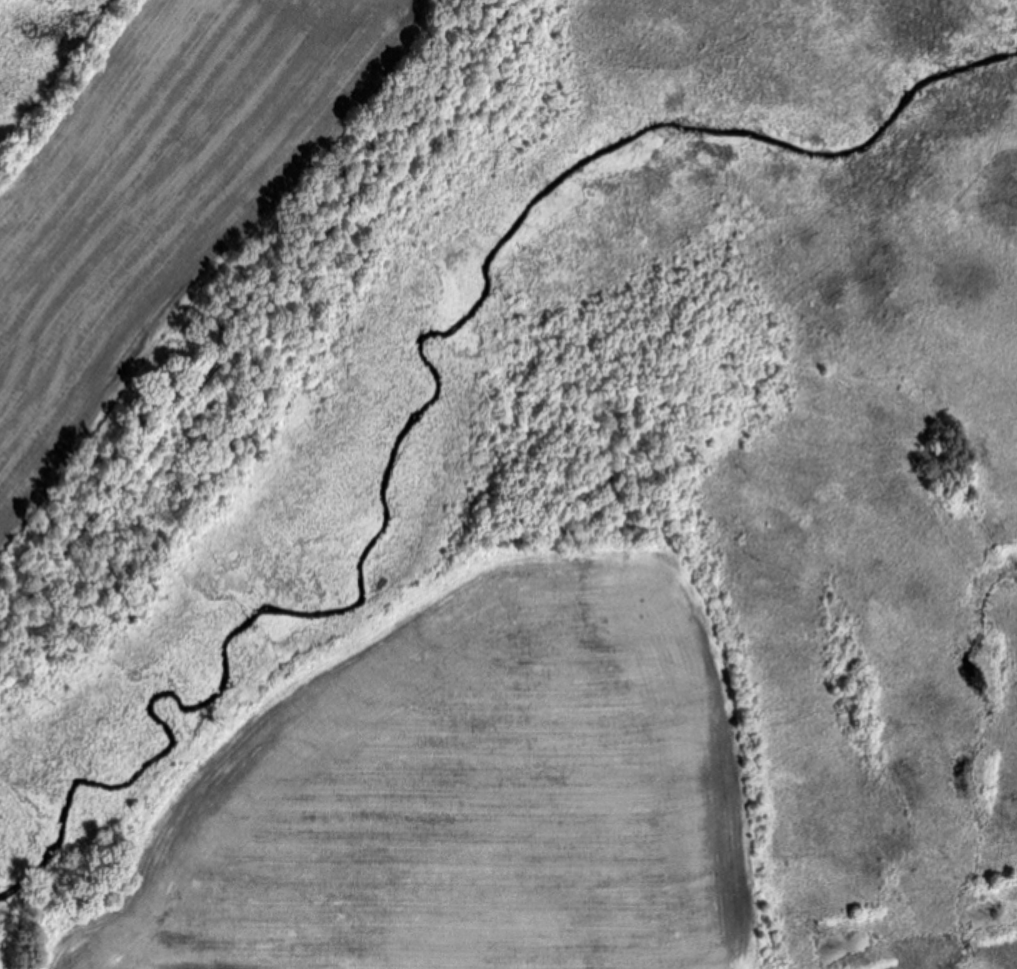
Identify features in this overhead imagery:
road: (258, 317)

